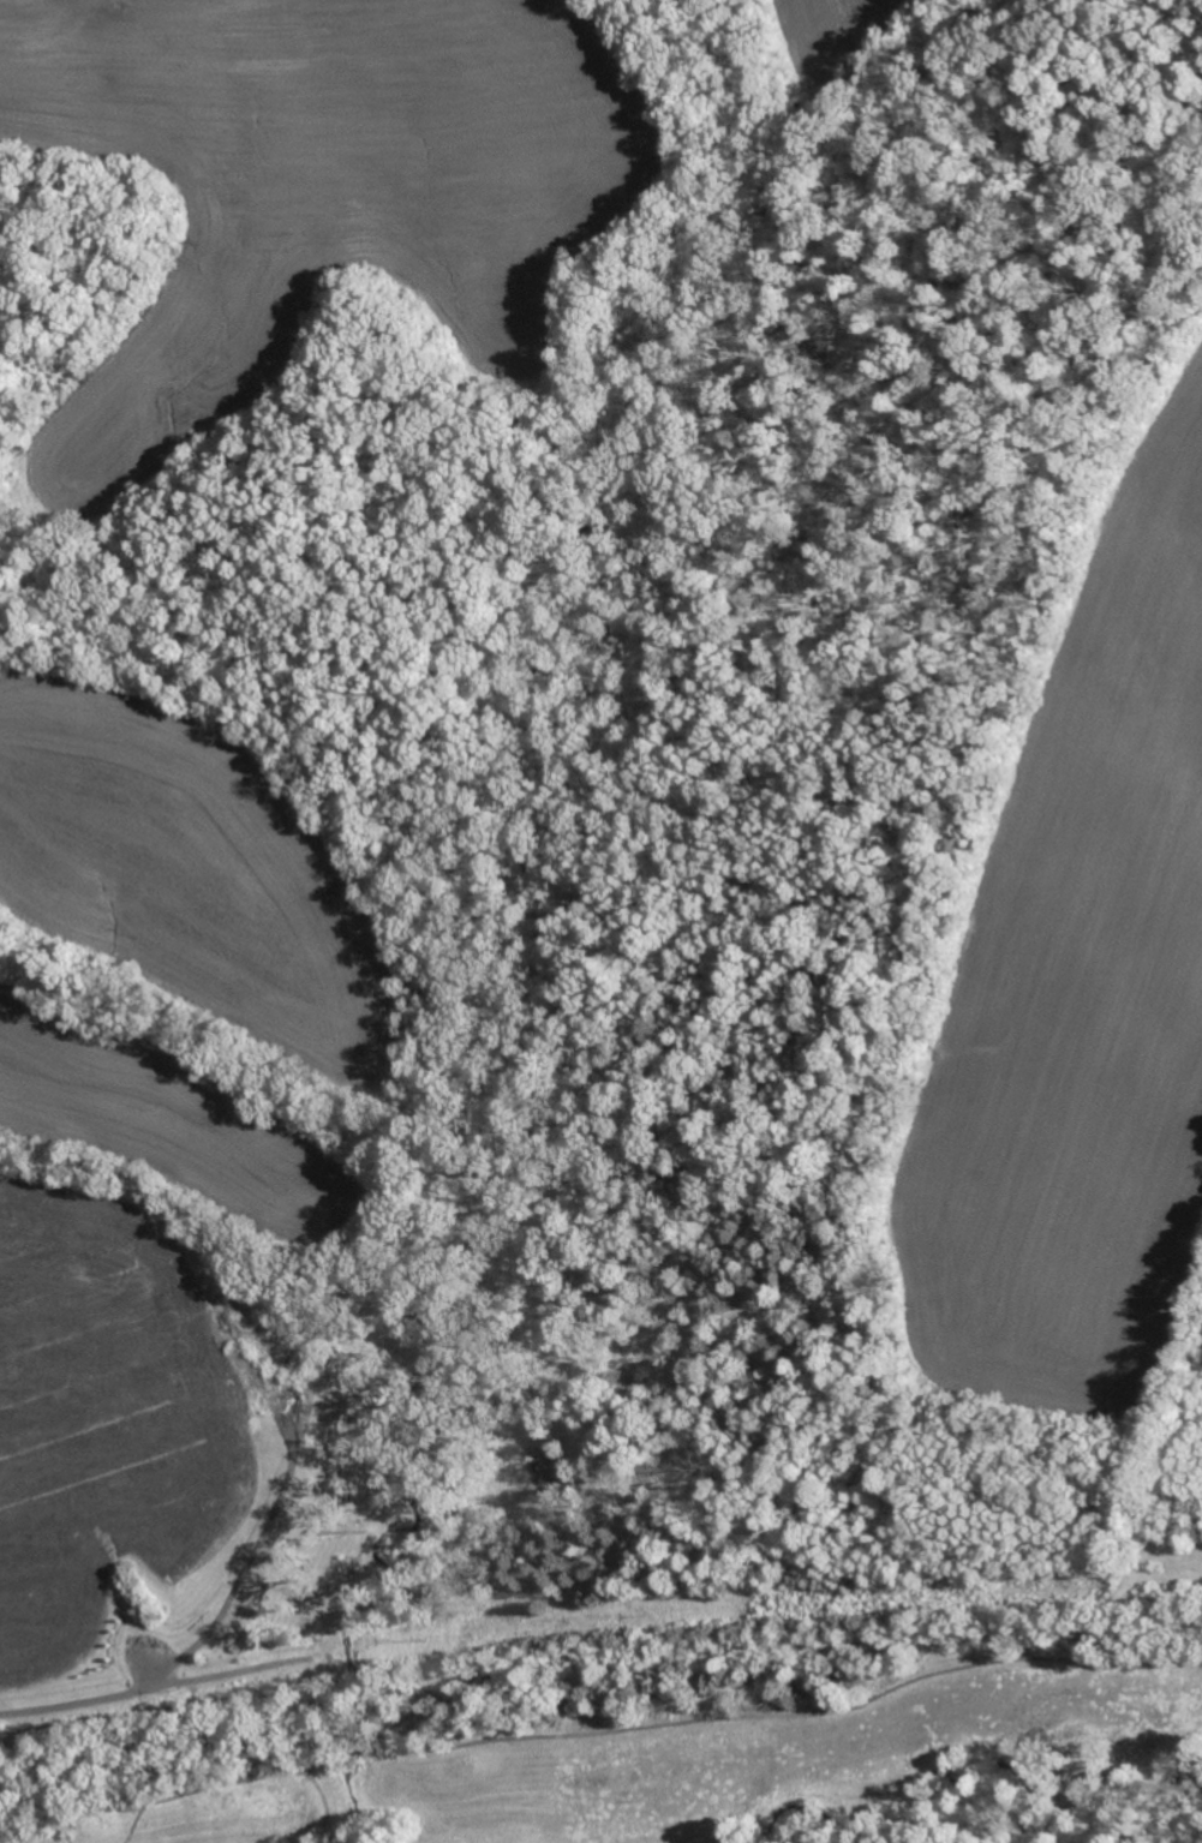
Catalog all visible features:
road: (1197, 1186)

